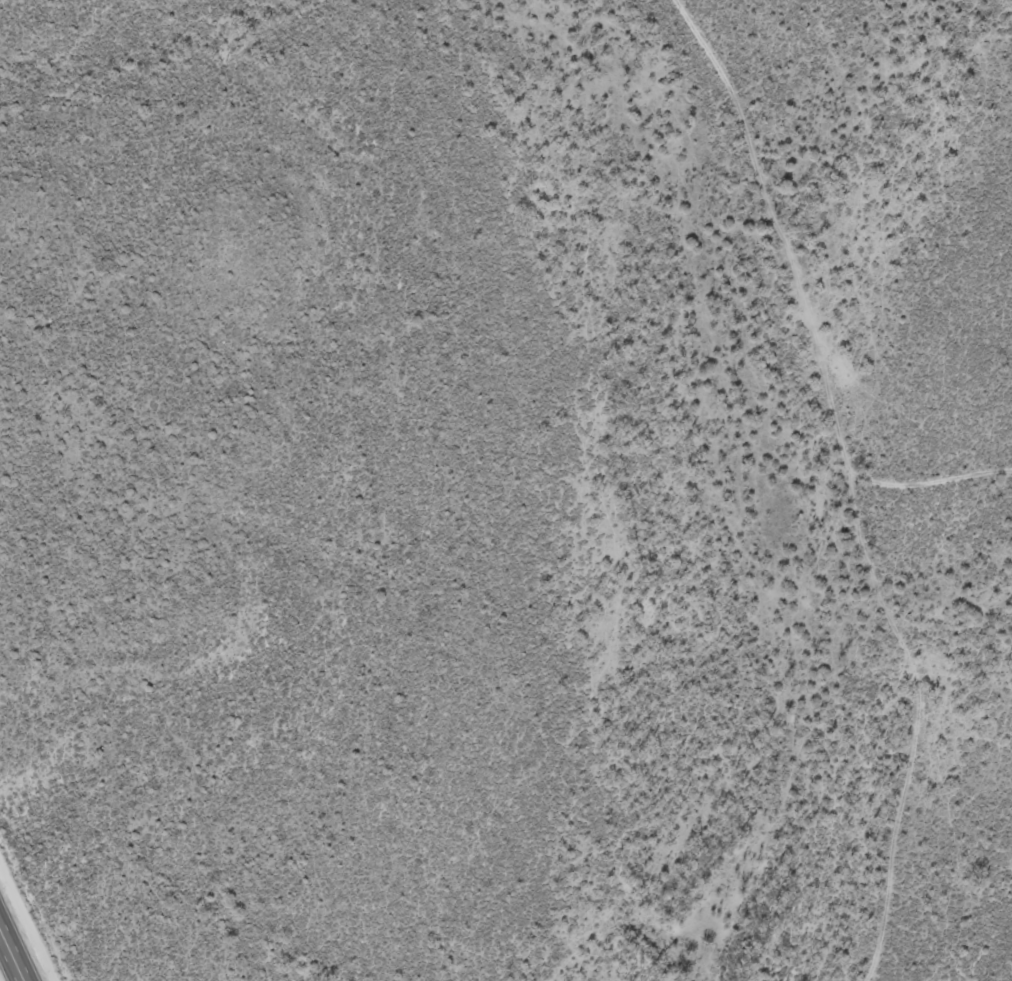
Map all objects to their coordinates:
road: (810, 304)
road: (14, 950)

